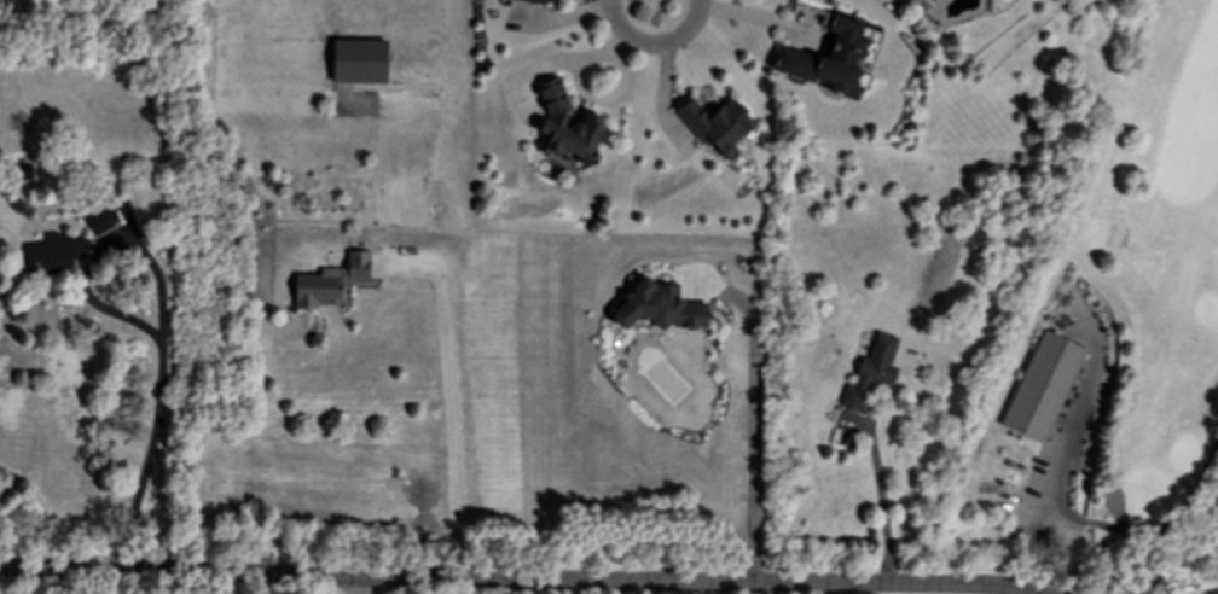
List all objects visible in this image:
building: (535, 2)
road: (654, 4)
road: (723, 11)
building: (831, 59)
road: (576, 60)
building: (360, 62)
building: (555, 122)
building: (719, 127)
building: (99, 223)
building: (56, 255)
building: (331, 283)
building: (661, 309)
park: (1103, 333)
building: (872, 373)
building: (1042, 389)
road: (457, 403)
road: (753, 426)
road: (151, 442)
road: (1063, 450)
road: (883, 506)
road: (1173, 520)
road: (511, 582)
road: (93, 584)
road: (362, 587)

